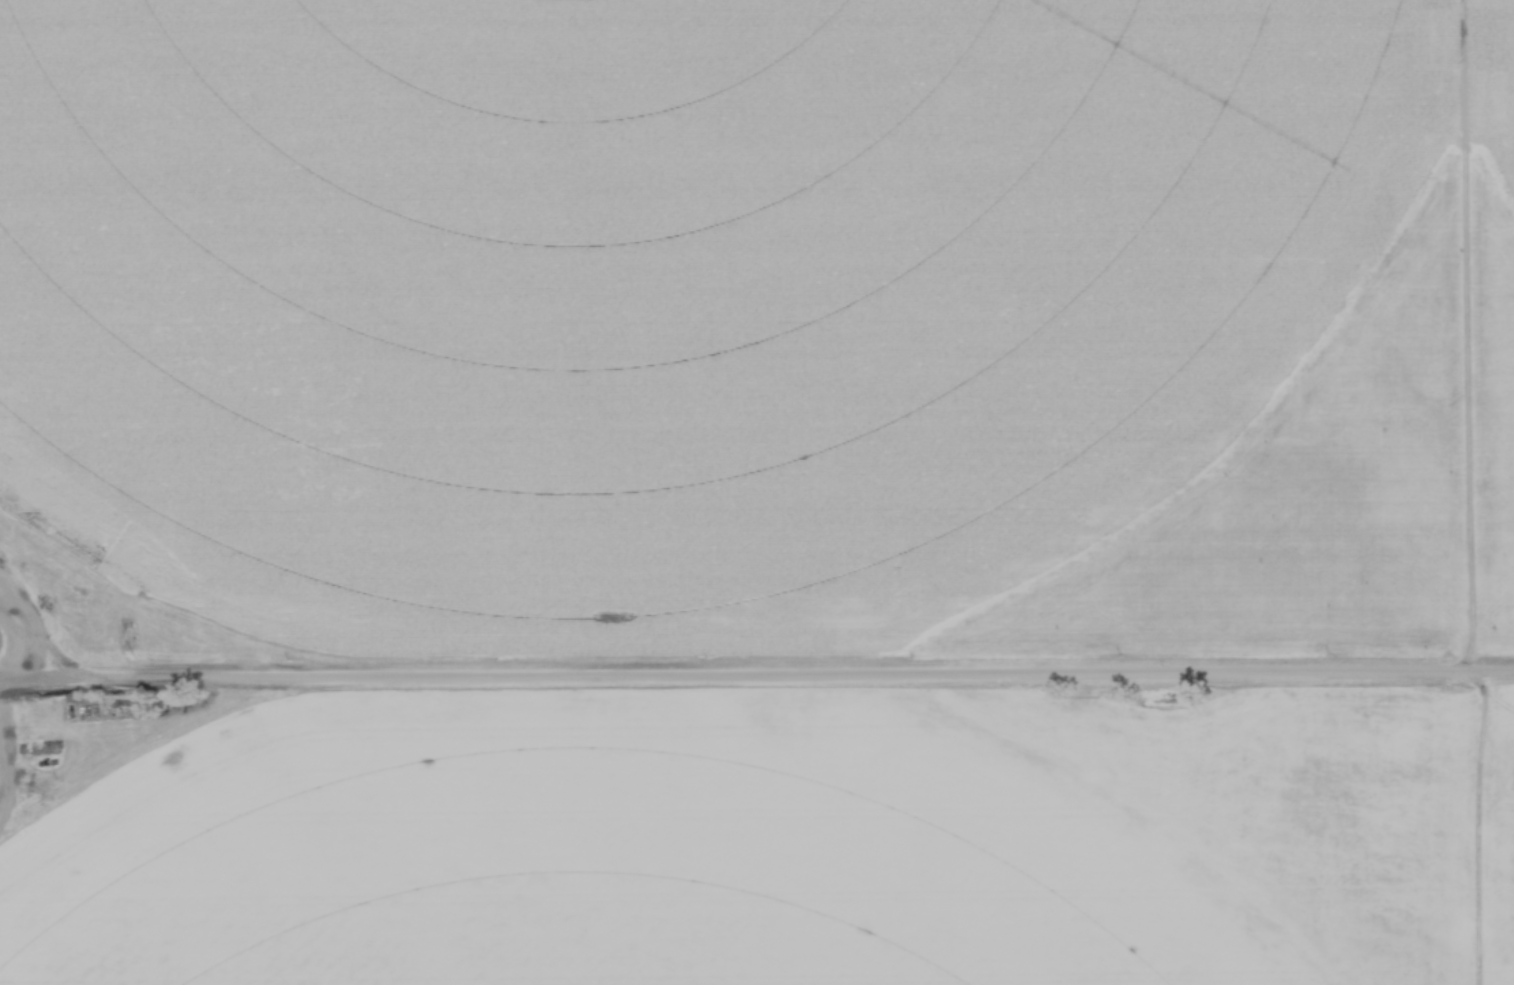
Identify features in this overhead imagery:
road: (21, 645)
road: (756, 679)

